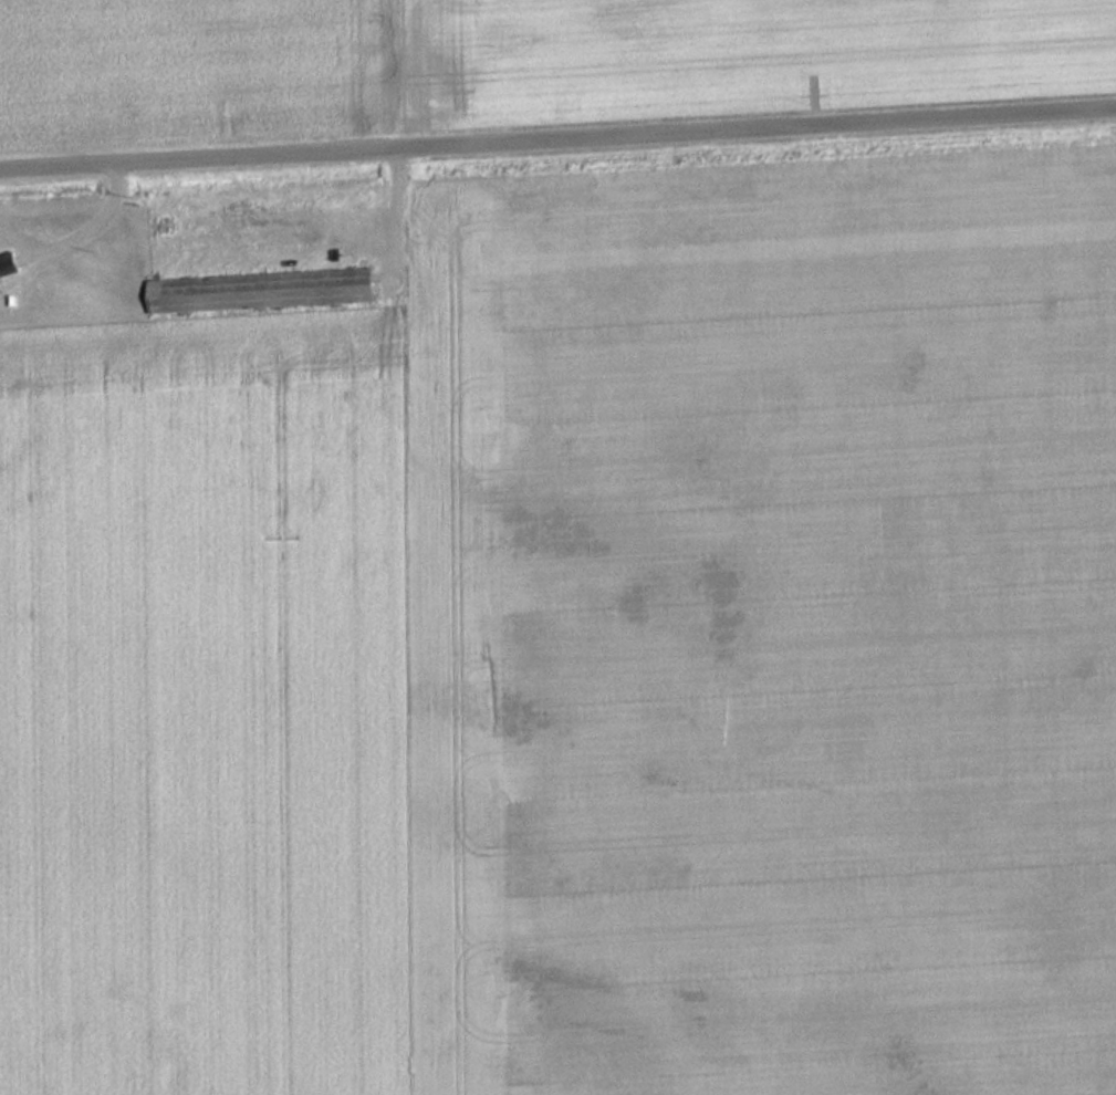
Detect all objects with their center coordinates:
road: (557, 138)
building: (2, 271)
building: (264, 291)

